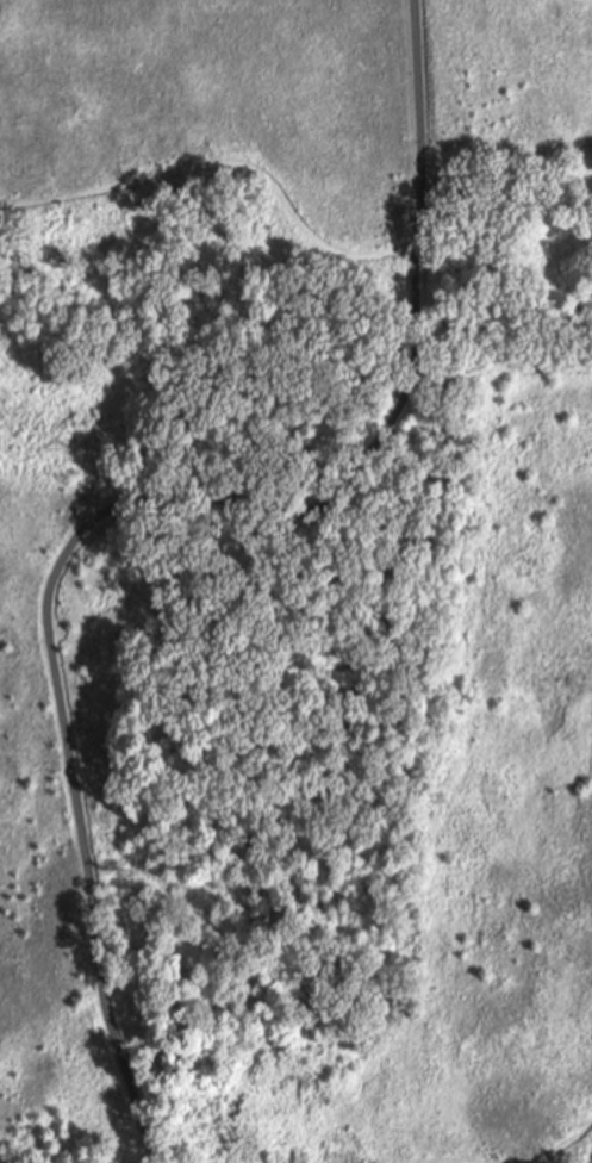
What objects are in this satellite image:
road: (499, 147)
road: (230, 166)
road: (501, 362)
road: (137, 497)
road: (567, 1145)

